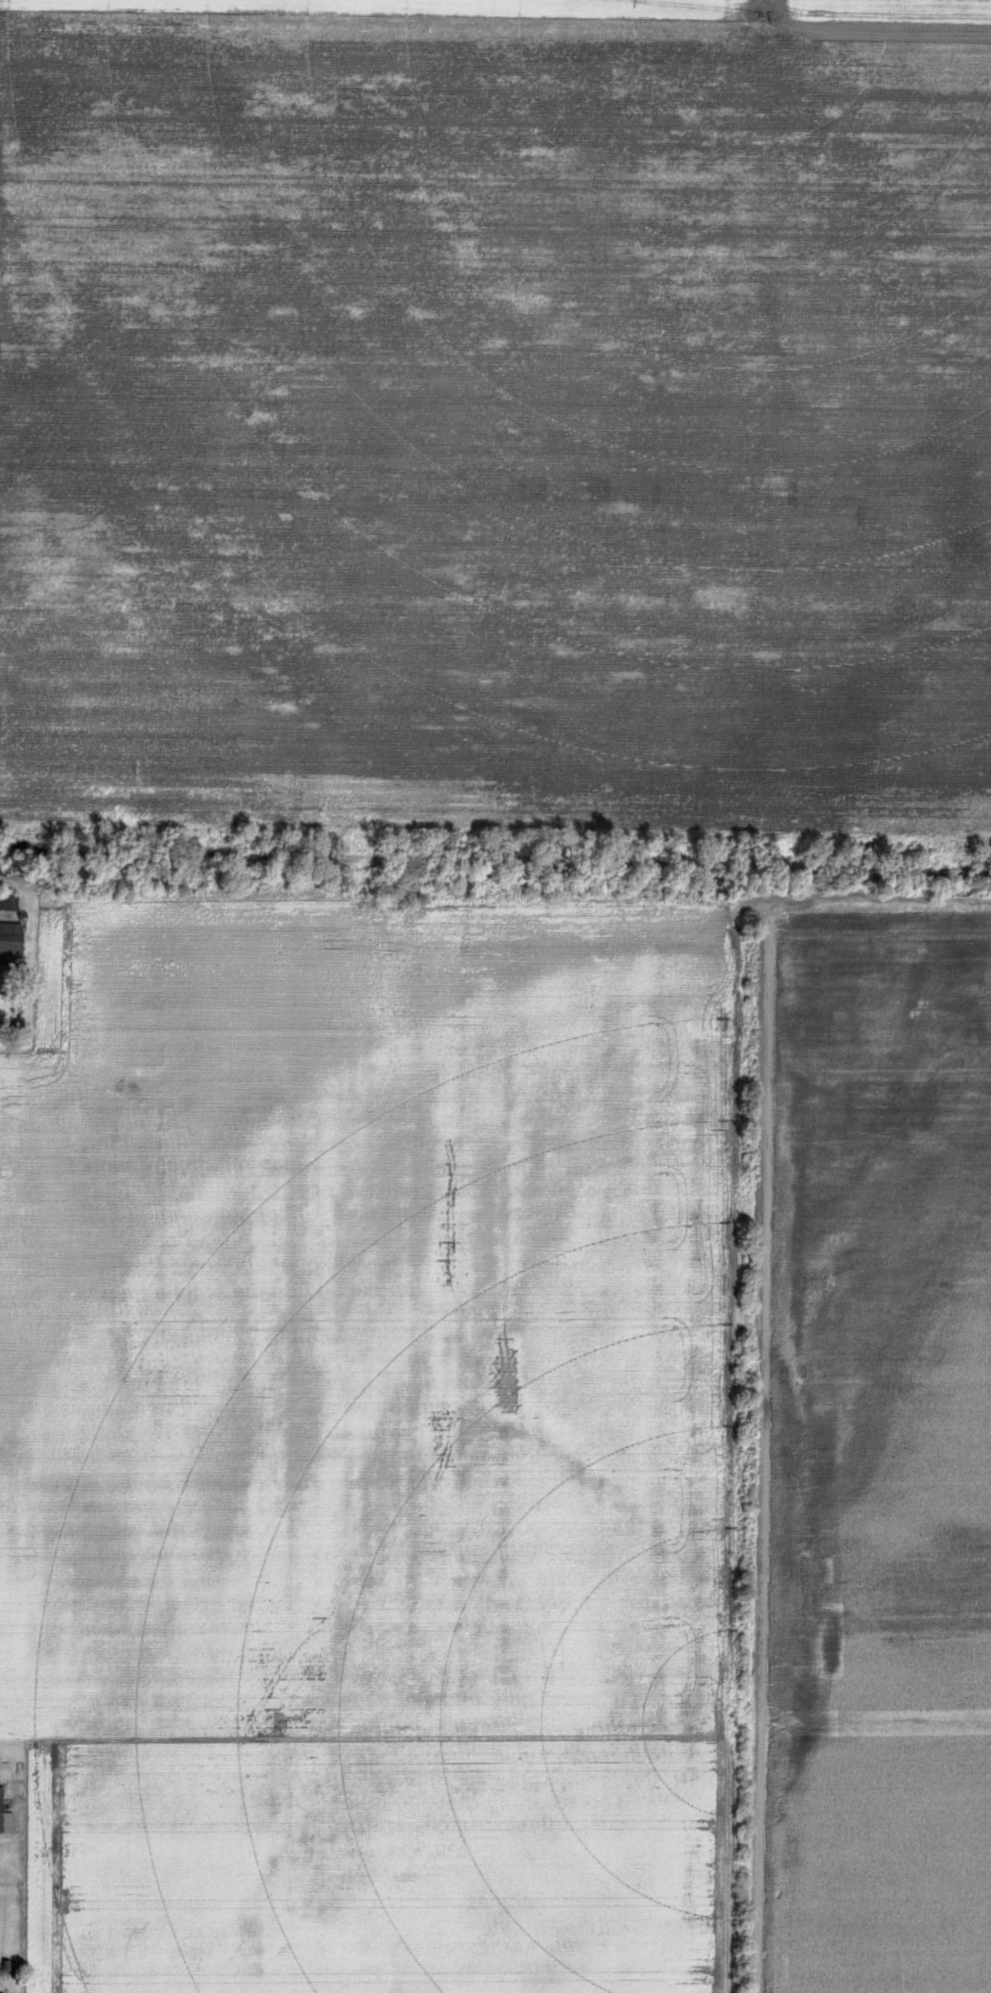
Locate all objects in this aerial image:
road: (760, 1866)

